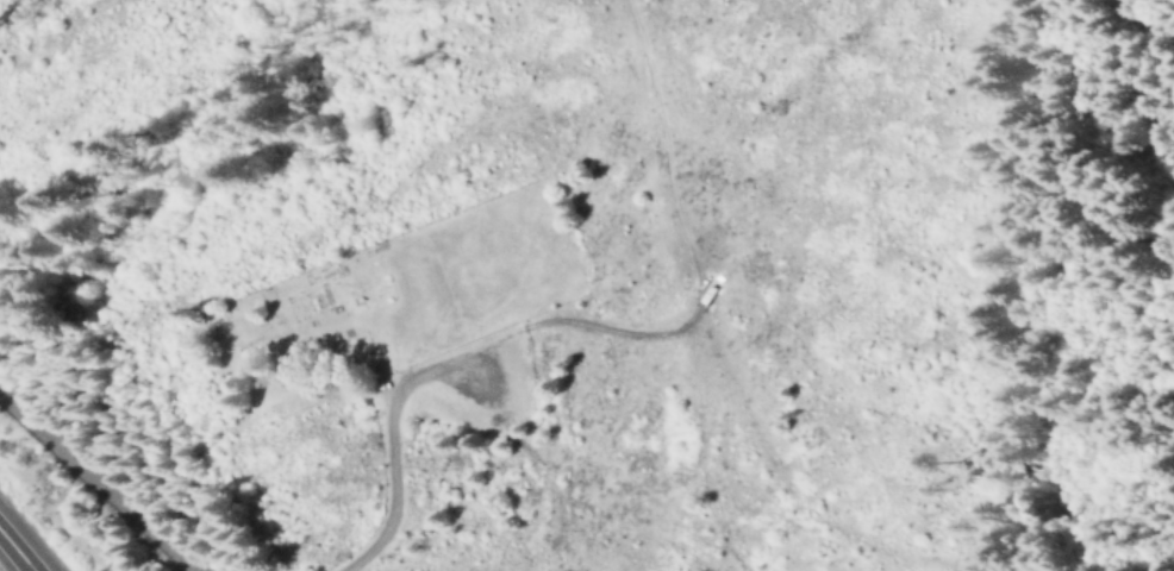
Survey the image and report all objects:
road: (649, 542)
road: (20, 548)
road: (31, 567)

